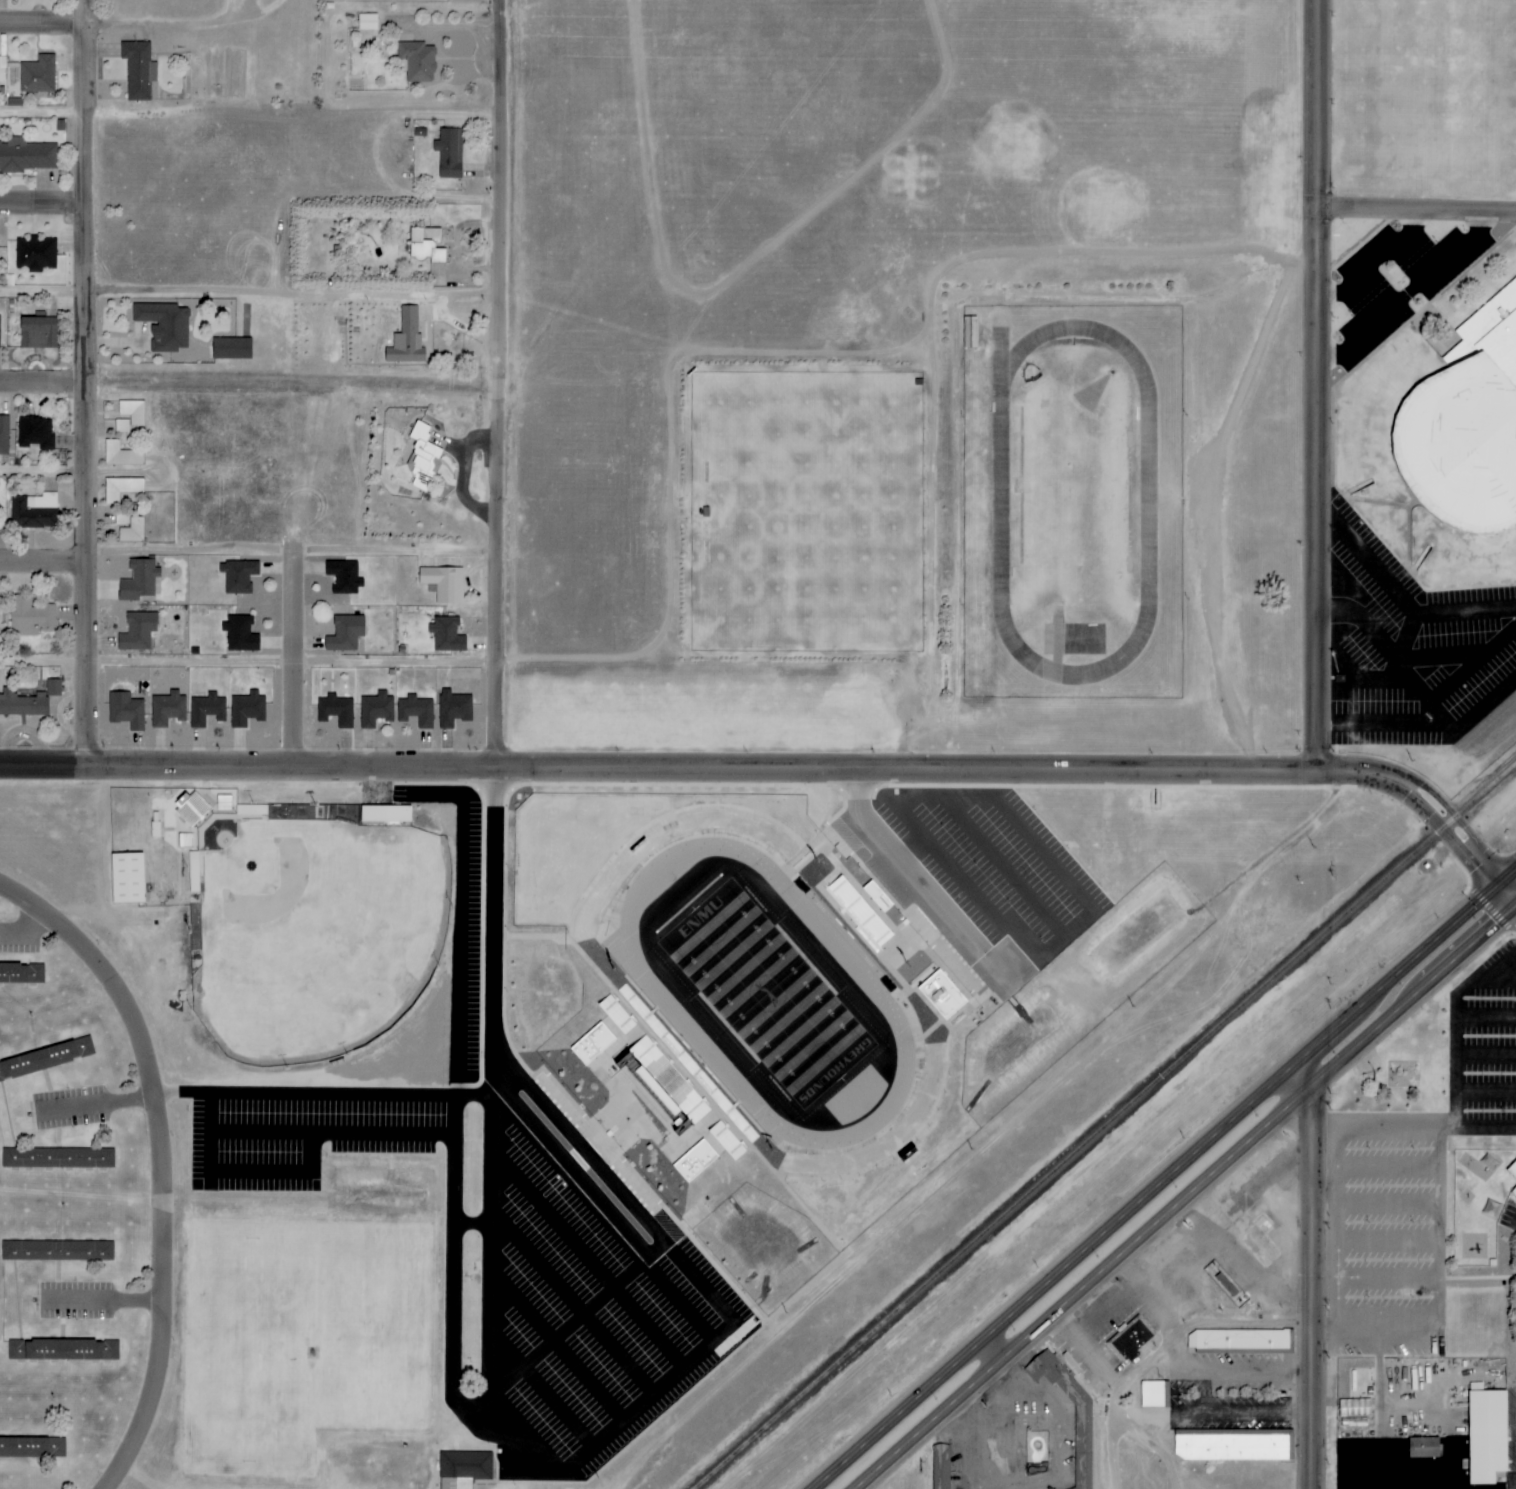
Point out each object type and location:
building: (367, 22)
road: (172, 24)
road: (45, 26)
building: (417, 61)
building: (138, 69)
building: (37, 74)
road: (45, 115)
building: (449, 153)
building: (27, 155)
road: (45, 206)
road: (1416, 210)
building: (424, 245)
building: (36, 254)
parking lot: (1394, 276)
road: (1407, 291)
road: (299, 295)
road: (45, 296)
building: (164, 325)
building: (37, 333)
building: (969, 333)
building: (406, 339)
building: (230, 349)
road: (297, 380)
road: (45, 382)
road: (90, 383)
road: (504, 384)
road: (1316, 385)
building: (132, 412)
building: (1467, 427)
stadium: (1467, 427)
building: (35, 433)
building: (4, 435)
building: (423, 452)
building: (120, 455)
road: (45, 476)
building: (121, 488)
track: (1068, 497)
park: (807, 509)
building: (132, 531)
road: (295, 551)
road: (45, 559)
building: (237, 576)
building: (344, 577)
building: (138, 580)
building: (443, 584)
building: (29, 616)
building: (137, 631)
building: (239, 634)
building: (345, 634)
building: (446, 635)
road: (298, 658)
road: (296, 660)
road: (46, 663)
parking lot: (1417, 663)
building: (52, 687)
building: (22, 704)
building: (167, 709)
building: (246, 709)
building: (453, 709)
building: (206, 710)
building: (335, 710)
building: (375, 710)
building: (126, 711)
building: (415, 711)
road: (687, 769)
railway: (1477, 795)
building: (193, 809)
building: (251, 810)
road: (1450, 811)
building: (384, 813)
road: (1437, 828)
parking lot: (997, 866)
building: (125, 877)
traffic signals: (1500, 885)
road: (1507, 895)
building: (876, 896)
traffic signals: (1515, 905)
building: (858, 912)
road: (26, 925)
park: (314, 934)
building: (21, 973)
park: (767, 994)
building: (941, 994)
track: (665, 1002)
road: (1485, 1017)
road: (1454, 1028)
building: (591, 1043)
road: (1485, 1052)
building: (46, 1057)
building: (681, 1076)
building: (0, 1079)
road: (1485, 1091)
building: (652, 1093)
road: (308, 1095)
road: (100, 1104)
parking lot: (299, 1139)
road: (1336, 1142)
road: (549, 1144)
road: (167, 1157)
building: (57, 1158)
railway: (1066, 1159)
building: (693, 1160)
road: (1388, 1170)
building: (1513, 1170)
road: (1165, 1177)
parking lot: (1414, 1181)
building: (1514, 1192)
road: (1185, 1197)
road: (1388, 1206)
road: (472, 1222)
road: (1387, 1241)
building: (57, 1250)
road: (587, 1258)
road: (1310, 1273)
road: (1387, 1282)
road: (702, 1287)
road: (1439, 1296)
road: (572, 1299)
road: (108, 1301)
parking lot: (580, 1316)
road: (695, 1325)
road: (564, 1328)
building: (1130, 1340)
building: (1238, 1342)
road: (556, 1343)
building: (62, 1350)
road: (541, 1388)
road: (1476, 1390)
building: (1152, 1394)
road: (1374, 1403)
road: (462, 1408)
building: (1354, 1413)
road: (1054, 1414)
building: (1486, 1436)
road: (968, 1443)
building: (1230, 1447)
building: (22, 1448)
building: (1083, 1448)
building: (1422, 1448)
road: (1164, 1453)
building: (940, 1466)
building: (463, 1469)

